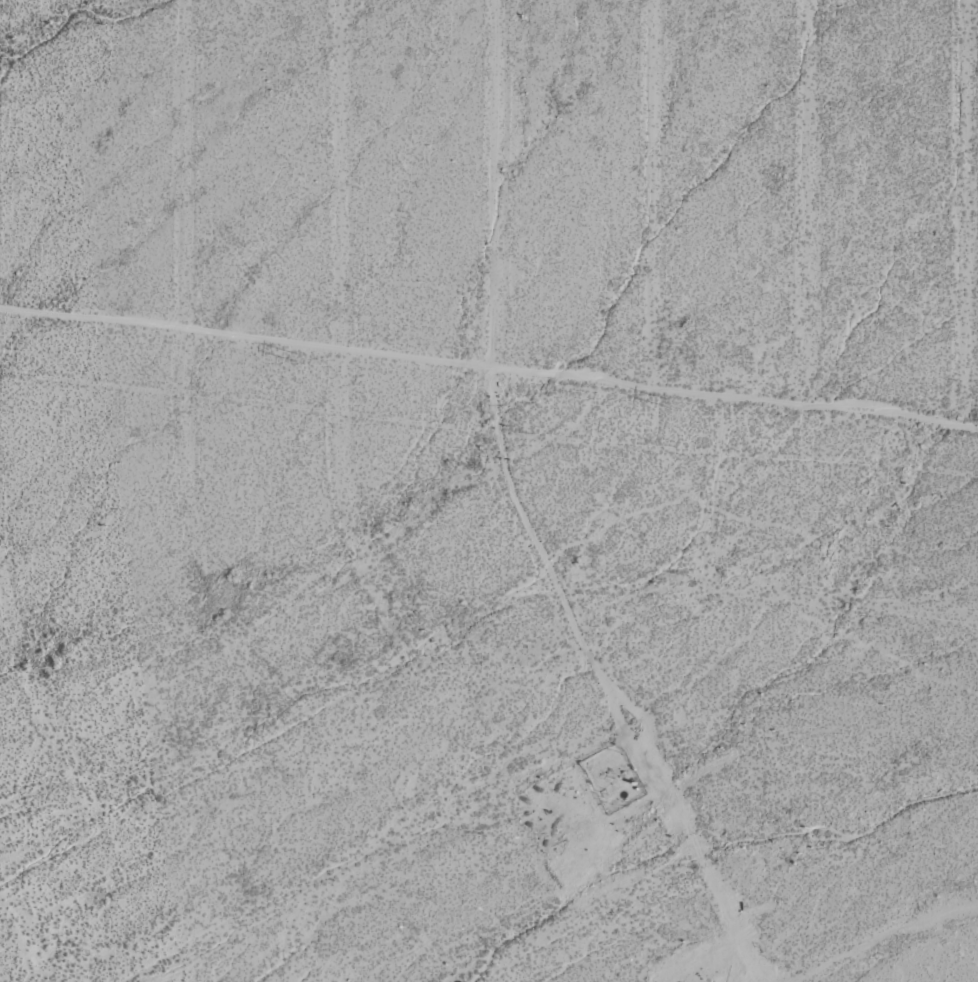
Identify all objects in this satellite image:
road: (651, 194)
road: (807, 203)
road: (961, 213)
road: (339, 332)
road: (488, 368)
road: (185, 369)
road: (513, 506)
road: (51, 697)
road: (276, 721)
road: (662, 780)
road: (576, 916)
road: (29, 927)
road: (881, 937)

